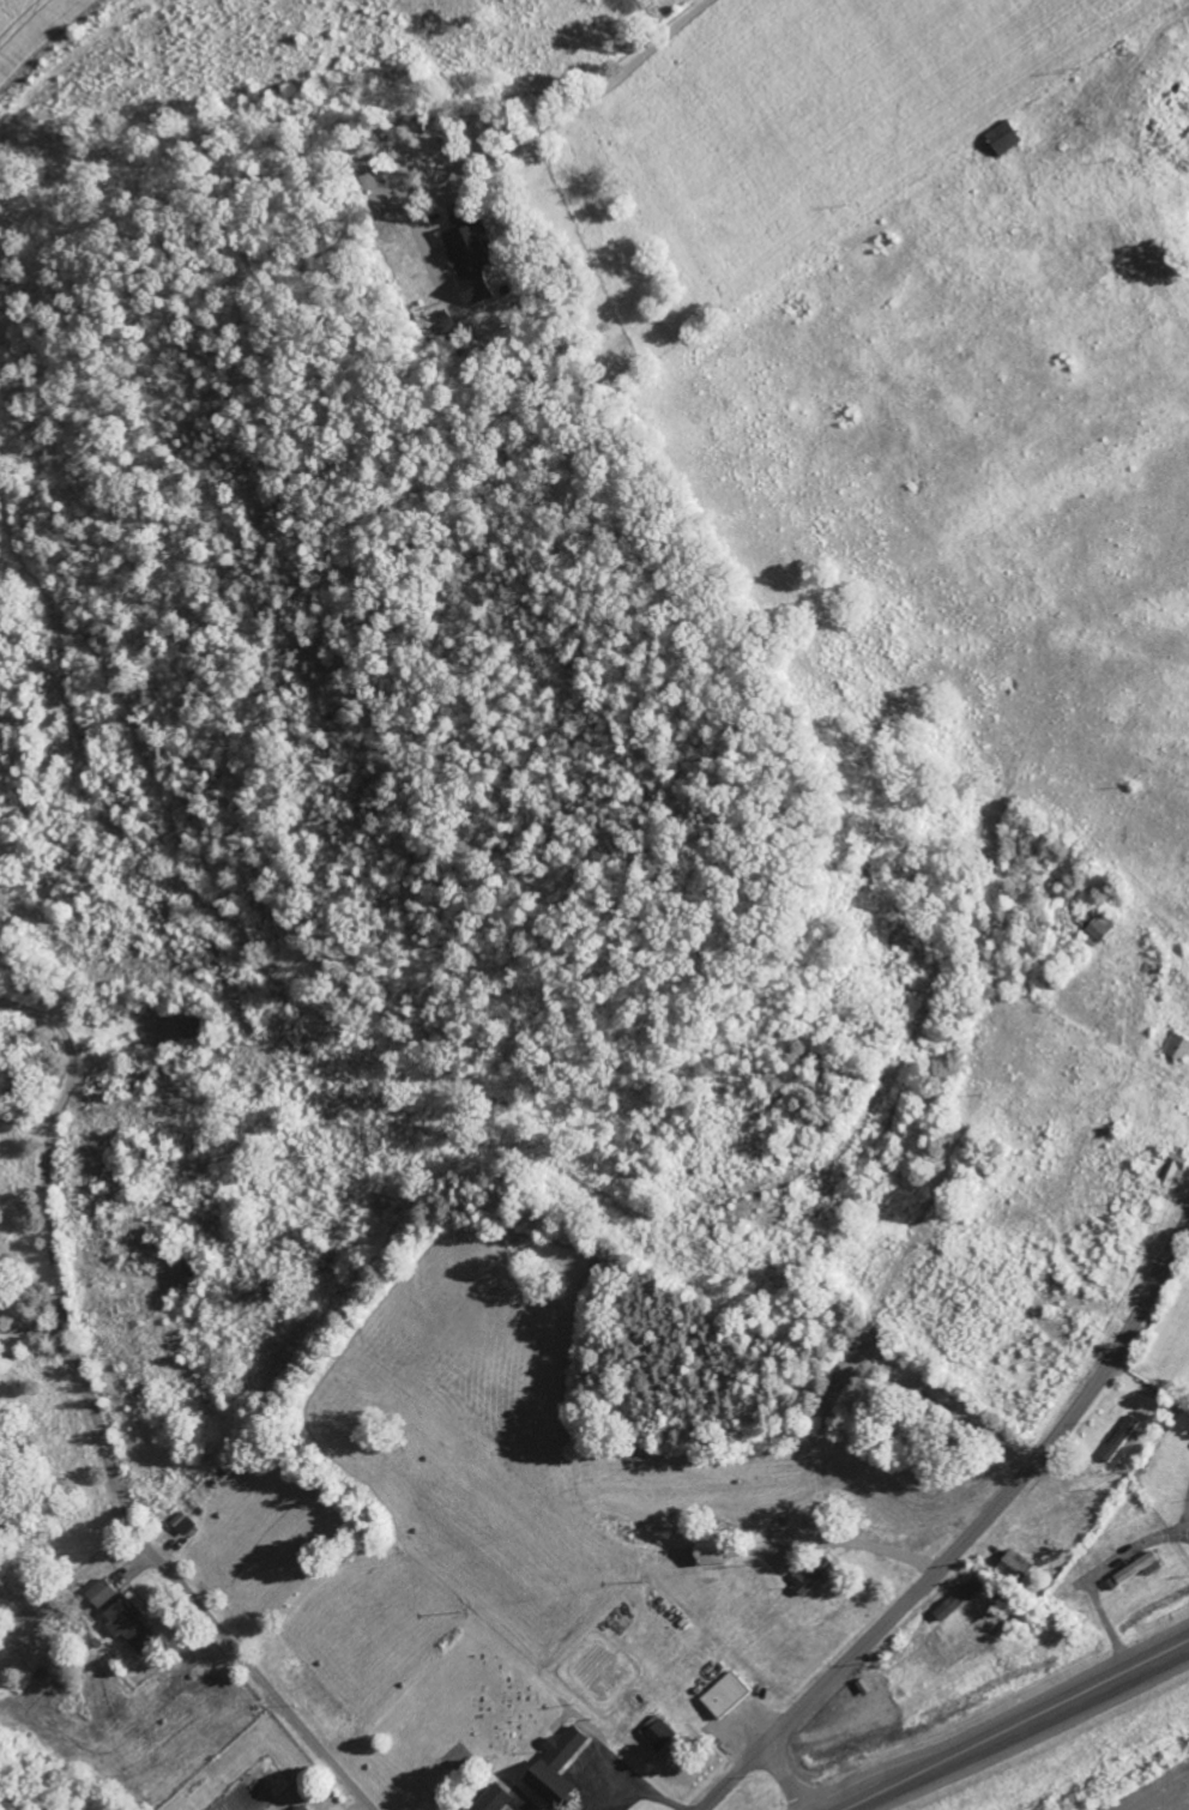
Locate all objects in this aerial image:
building: (1009, 138)
building: (449, 324)
building: (1176, 1170)
building: (1123, 1438)
road: (980, 1526)
building: (716, 1552)
building: (1020, 1565)
building: (1139, 1567)
road: (181, 1586)
building: (103, 1593)
building: (132, 1627)
building: (728, 1695)
road: (1019, 1726)
building: (662, 1736)
building: (560, 1769)
building: (496, 1799)
building: (306, 1808)

